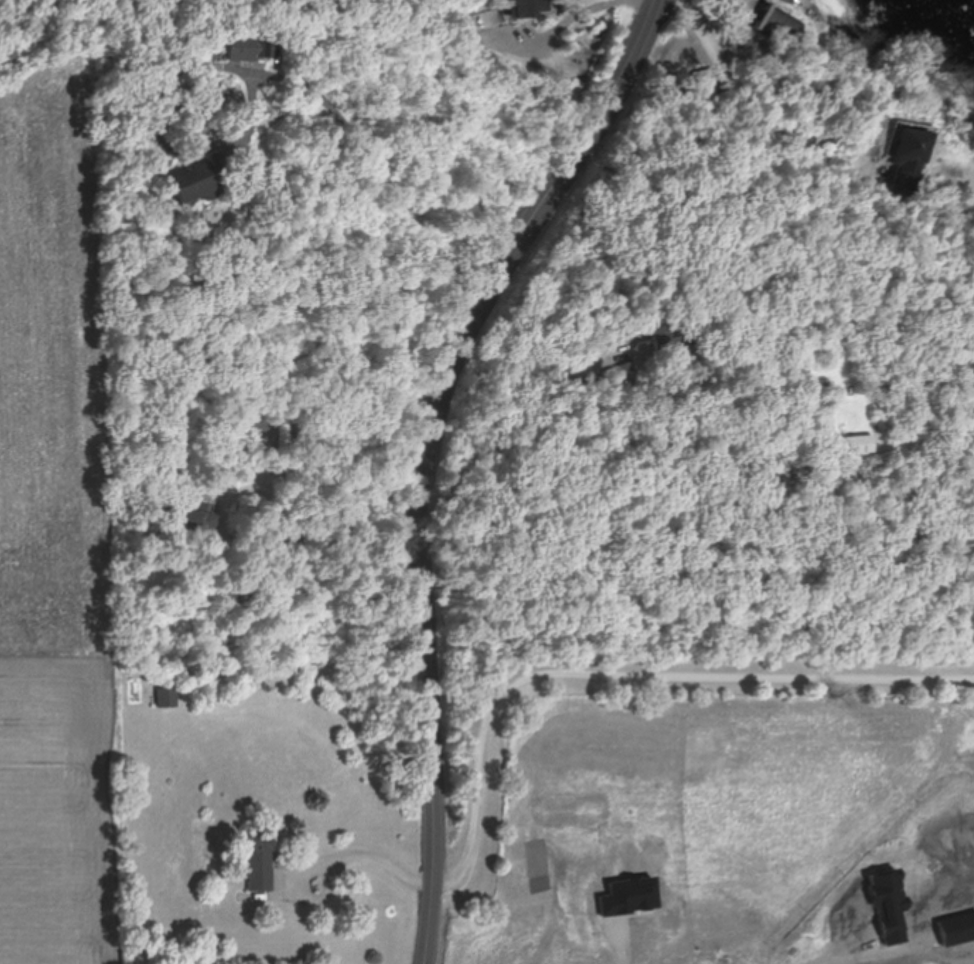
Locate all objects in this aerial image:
building: (522, 8)
road: (575, 16)
building: (784, 33)
building: (249, 46)
road: (747, 92)
road: (382, 173)
building: (199, 180)
building: (663, 336)
building: (851, 448)
road: (422, 452)
road: (481, 456)
building: (194, 520)
road: (544, 673)
building: (167, 698)
building: (263, 859)
road: (847, 958)

